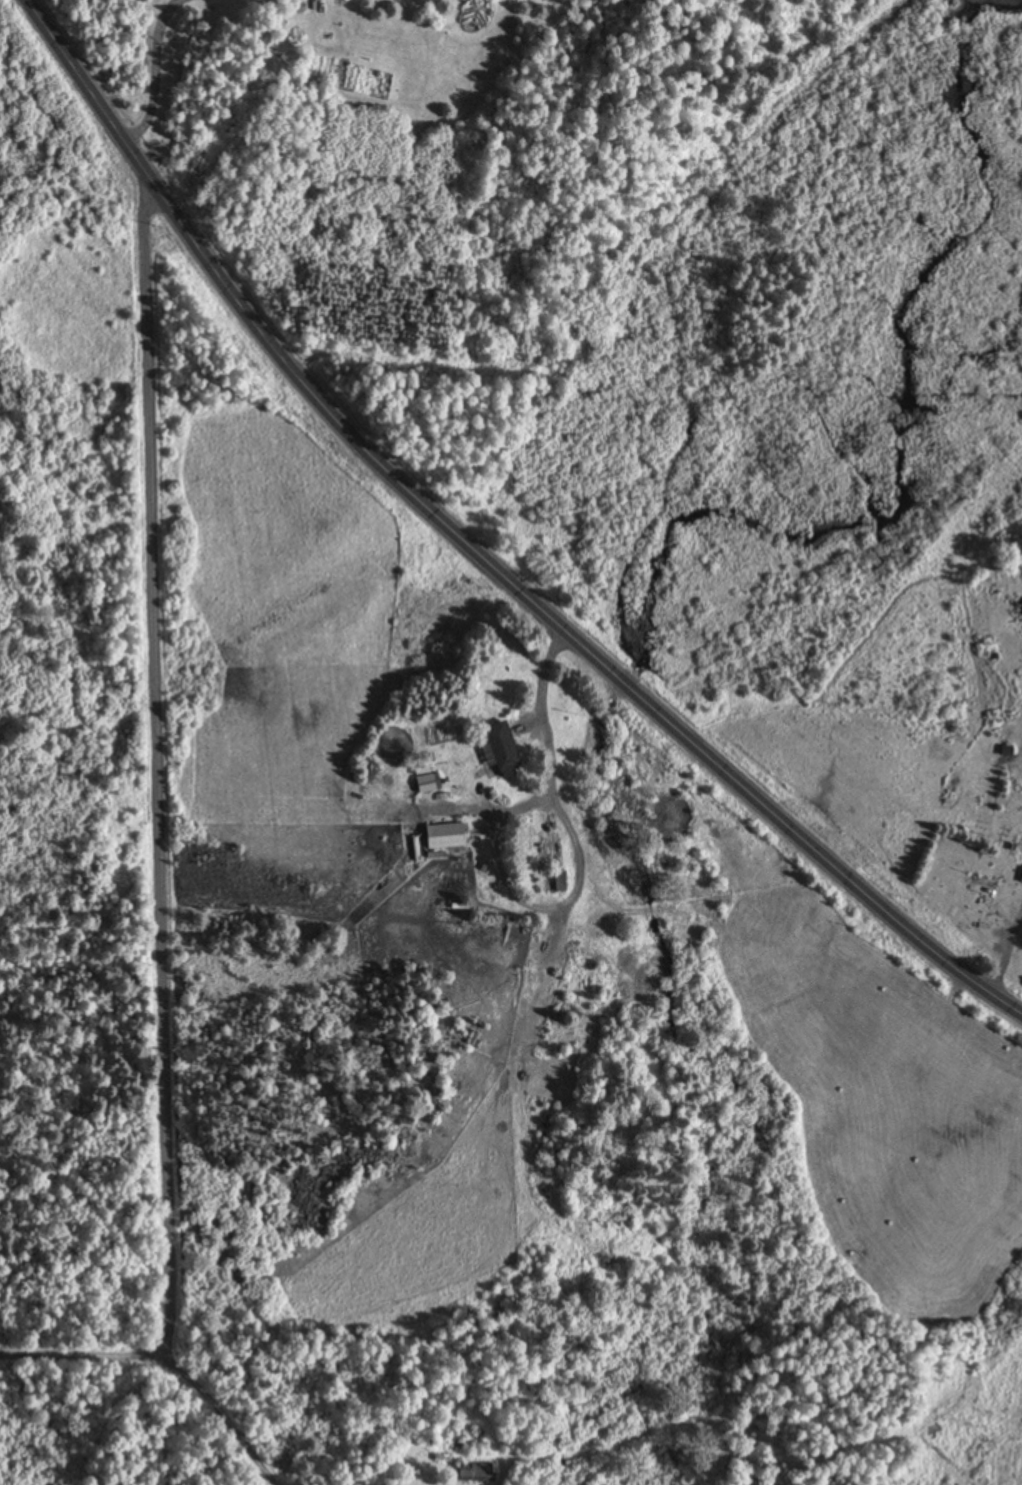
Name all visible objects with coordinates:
road: (474, 554)
building: (500, 749)
building: (427, 783)
building: (1012, 822)
road: (156, 827)
building: (444, 837)
building: (554, 882)
building: (474, 1473)

